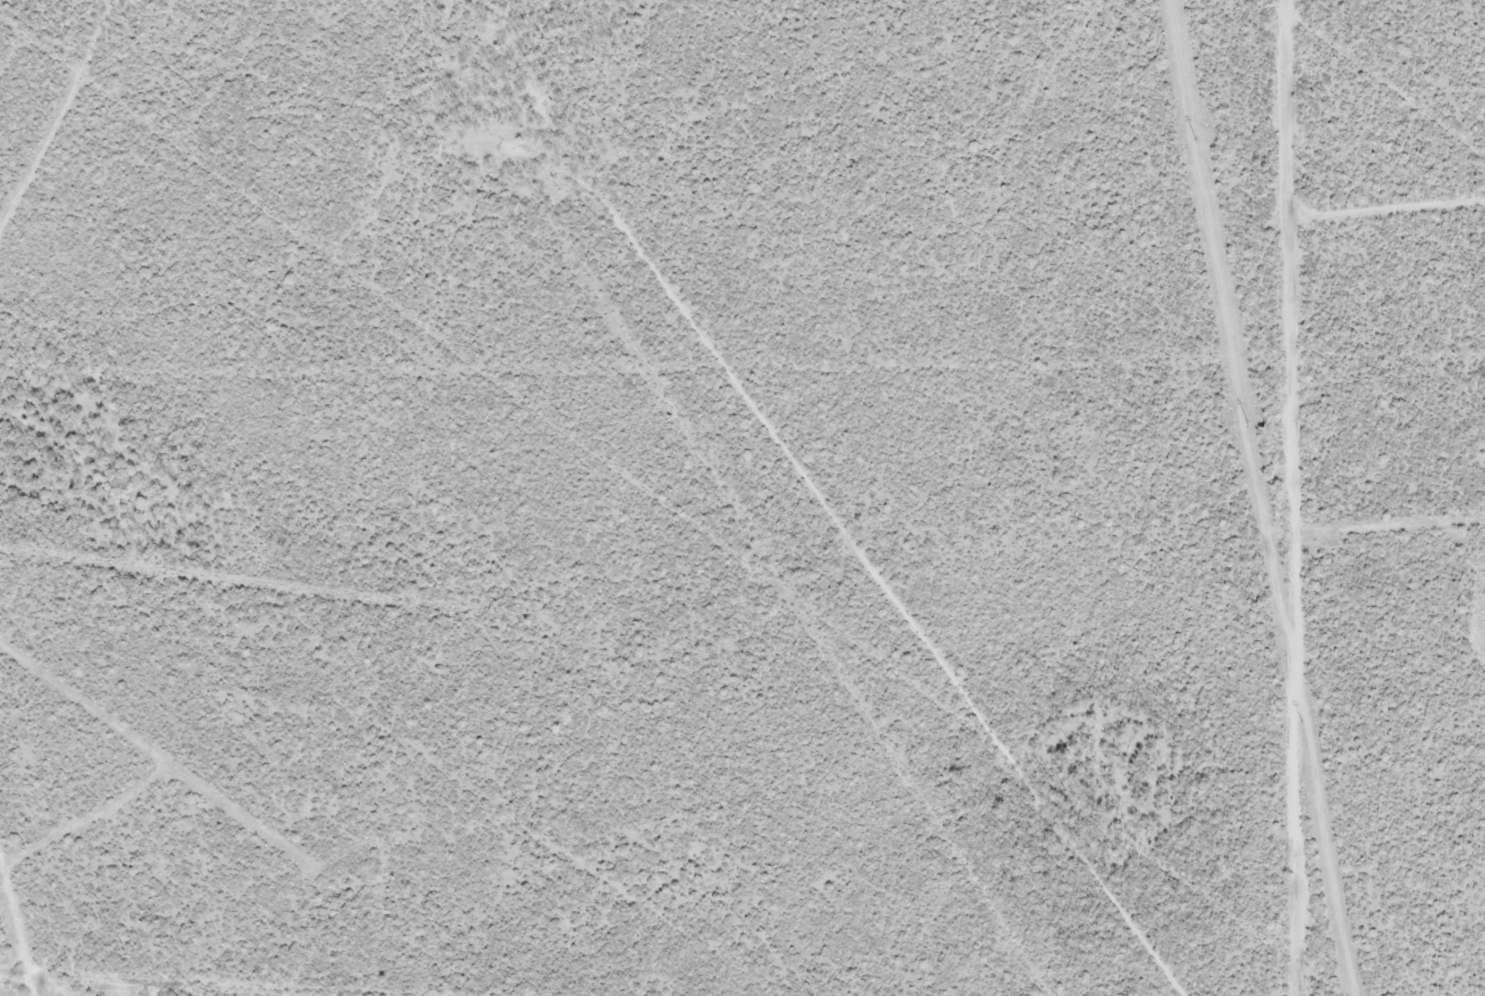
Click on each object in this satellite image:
power tower: (1196, 138)
power tower: (1247, 421)
road: (1330, 498)
power tower: (1301, 720)

